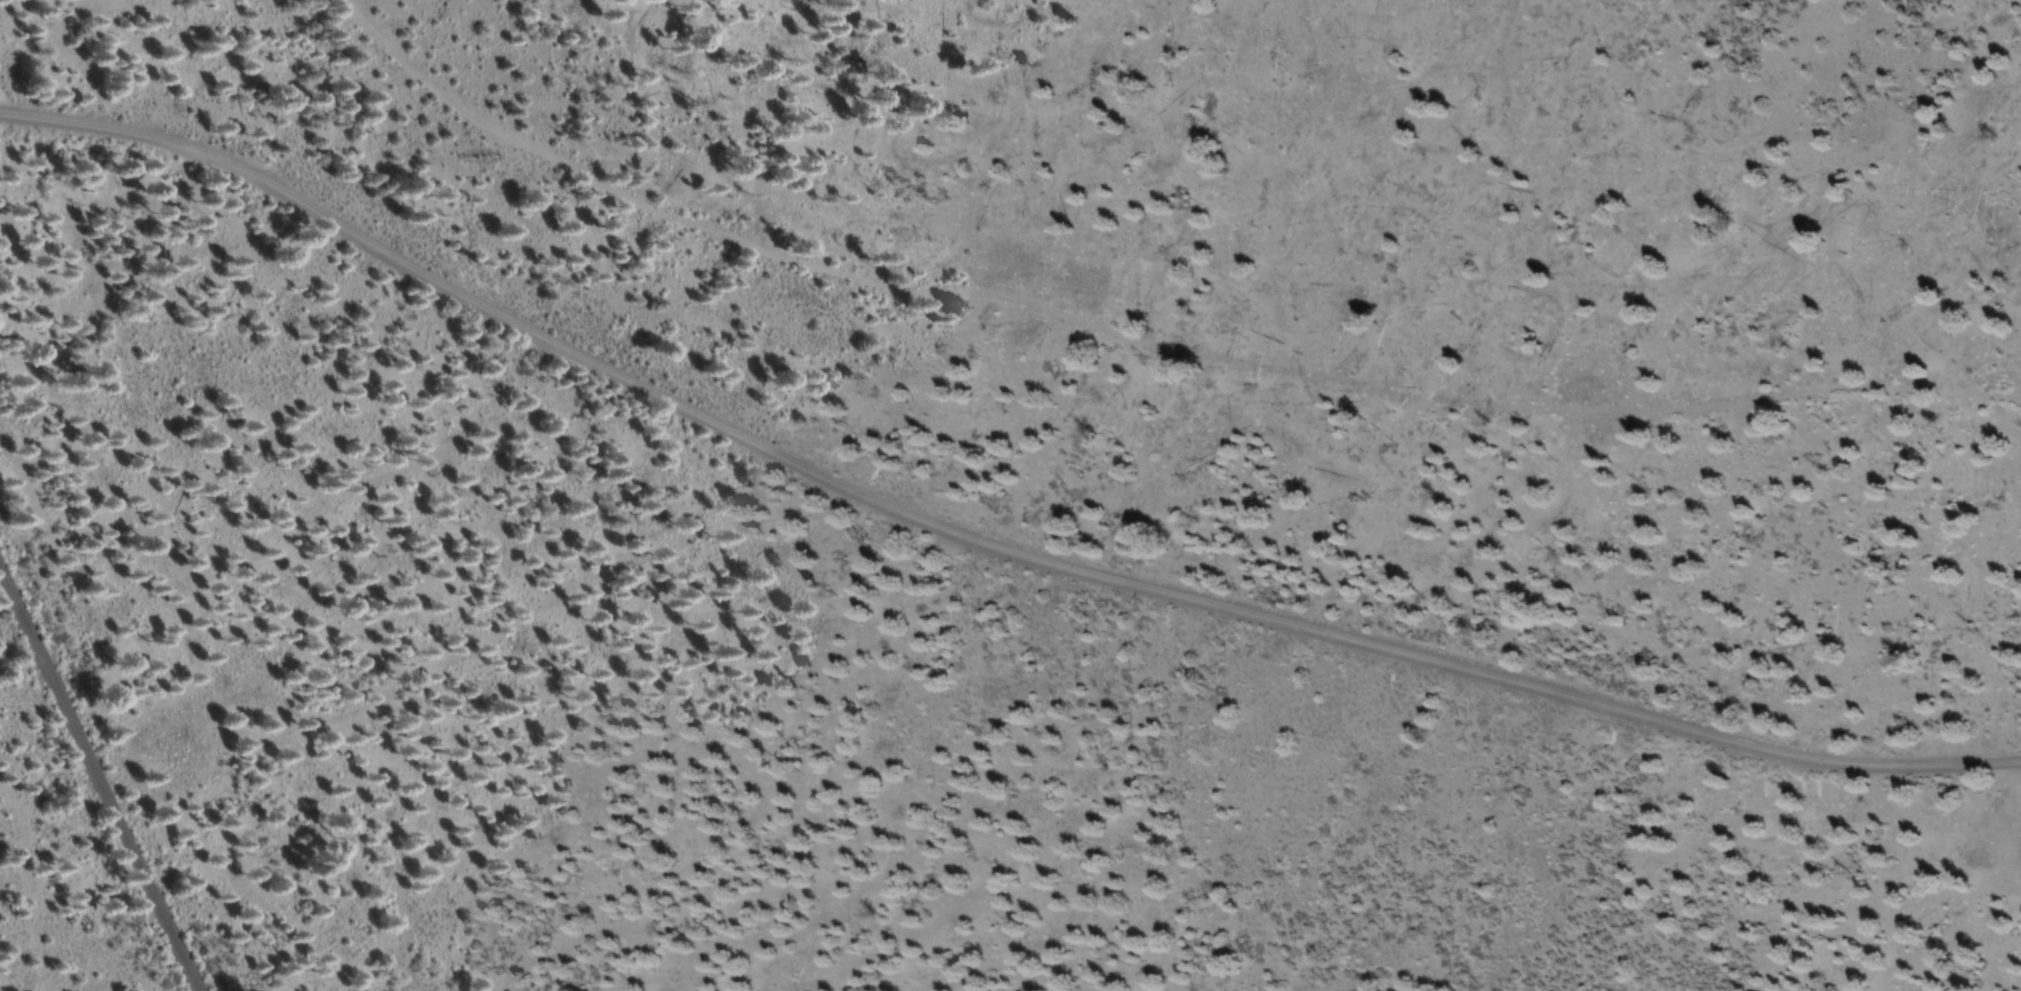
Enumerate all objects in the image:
road: (11, 103)
road: (1144, 340)
road: (975, 542)
road: (100, 776)

